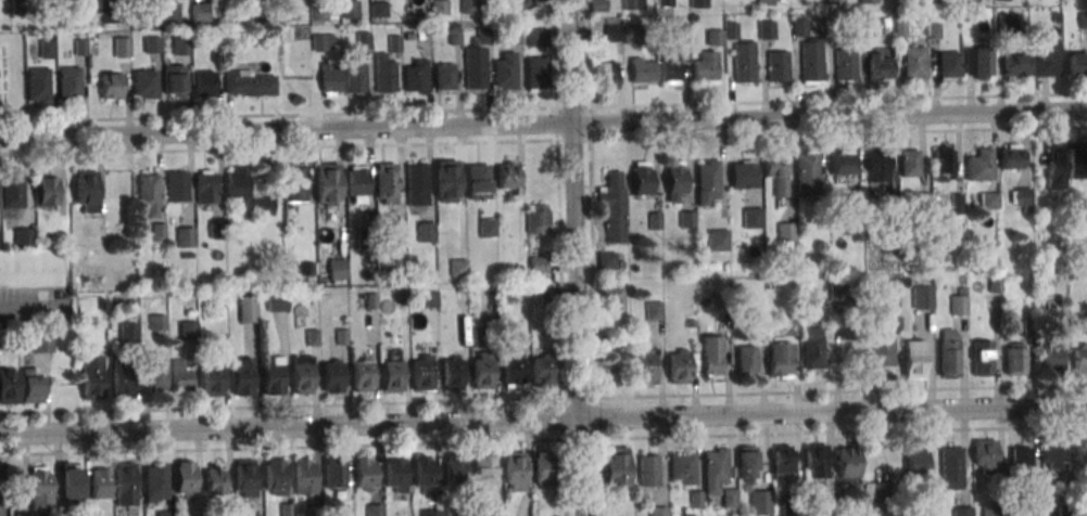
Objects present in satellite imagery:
building: (931, 0)
building: (969, 0)
building: (834, 1)
building: (867, 1)
building: (665, 2)
building: (766, 2)
building: (541, 3)
building: (698, 3)
building: (633, 4)
building: (598, 5)
building: (439, 7)
building: (468, 7)
building: (16, 8)
building: (350, 8)
building: (169, 11)
building: (379, 11)
building: (200, 12)
building: (257, 13)
building: (289, 13)
building: (139, 14)
building: (319, 14)
building: (110, 15)
building: (1054, 17)
building: (964, 18)
building: (1083, 20)
building: (1002, 24)
building: (870, 26)
building: (899, 26)
building: (799, 27)
building: (832, 28)
building: (767, 29)
building: (731, 30)
building: (933, 30)
building: (680, 33)
building: (614, 34)
building: (631, 34)
building: (100, 36)
building: (515, 36)
building: (408, 37)
building: (455, 37)
building: (713, 37)
building: (536, 38)
building: (323, 41)
building: (363, 41)
building: (151, 43)
building: (181, 44)
building: (394, 44)
building: (122, 47)
building: (47, 48)
building: (80, 49)
building: (1045, 55)
building: (743, 61)
building: (811, 61)
building: (913, 61)
building: (477, 62)
building: (978, 62)
building: (1077, 63)
building: (845, 64)
building: (949, 64)
building: (778, 65)
building: (1015, 65)
building: (669, 66)
building: (705, 66)
building: (880, 66)
building: (643, 68)
building: (506, 73)
building: (384, 75)
building: (536, 75)
building: (606, 75)
building: (415, 76)
building: (443, 76)
building: (355, 77)
building: (330, 79)
building: (174, 80)
building: (68, 82)
building: (249, 82)
building: (144, 83)
building: (202, 83)
building: (38, 85)
building: (111, 86)
road: (543, 108)
road: (543, 122)
road: (543, 141)
building: (1010, 155)
building: (1077, 159)
building: (843, 162)
building: (909, 162)
building: (943, 163)
building: (978, 165)
building: (876, 166)
building: (1054, 166)
building: (776, 171)
building: (807, 172)
building: (742, 175)
building: (510, 177)
building: (641, 178)
building: (675, 179)
building: (357, 180)
building: (446, 180)
building: (707, 180)
building: (478, 181)
building: (293, 182)
building: (385, 183)
building: (327, 184)
building: (416, 184)
building: (177, 185)
building: (206, 186)
building: (46, 190)
building: (12, 191)
building: (86, 191)
building: (245, 191)
building: (148, 192)
building: (1020, 196)
building: (923, 199)
building: (988, 199)
building: (854, 203)
building: (889, 203)
building: (956, 204)
building: (611, 205)
building: (1083, 211)
building: (753, 217)
building: (538, 218)
building: (686, 218)
building: (655, 221)
building: (102, 228)
building: (486, 228)
building: (215, 229)
building: (786, 231)
building: (426, 232)
building: (157, 233)
building: (185, 236)
building: (24, 237)
building: (0, 238)
building: (718, 238)
building: (365, 240)
road: (576, 257)
road: (592, 257)
road: (559, 258)
building: (607, 260)
building: (538, 263)
building: (457, 267)
building: (337, 269)
road: (25, 279)
building: (994, 284)
building: (462, 288)
building: (836, 292)
building: (612, 296)
building: (547, 297)
building: (922, 297)
building: (312, 298)
building: (402, 298)
building: (361, 299)
building: (429, 299)
building: (222, 300)
building: (370, 300)
building: (493, 300)
building: (276, 302)
road: (25, 304)
building: (132, 305)
building: (958, 305)
building: (248, 308)
building: (654, 310)
building: (722, 321)
building: (157, 322)
building: (690, 323)
building: (371, 325)
building: (624, 327)
building: (188, 331)
building: (128, 333)
building: (480, 334)
building: (341, 337)
building: (312, 338)
building: (41, 343)
building: (811, 347)
building: (881, 350)
building: (948, 352)
building: (711, 357)
building: (1048, 357)
building: (982, 358)
building: (1079, 358)
building: (780, 359)
building: (913, 359)
building: (1014, 359)
building: (746, 361)
building: (645, 365)
building: (679, 365)
building: (511, 369)
building: (157, 371)
building: (481, 371)
building: (421, 372)
building: (541, 372)
building: (452, 373)
building: (181, 374)
building: (302, 374)
building: (271, 375)
building: (362, 375)
building: (91, 376)
building: (122, 376)
building: (241, 376)
building: (331, 376)
building: (391, 376)
building: (211, 379)
building: (30, 385)
building: (9, 386)
road: (543, 399)
road: (543, 420)
road: (543, 440)
building: (1080, 451)
building: (985, 455)
building: (1052, 455)
building: (782, 457)
building: (1021, 457)
building: (816, 460)
building: (917, 461)
building: (746, 464)
building: (847, 465)
building: (682, 466)
building: (544, 467)
building: (615, 467)
building: (950, 467)
building: (455, 468)
building: (713, 468)
building: (425, 470)
building: (514, 470)
building: (648, 470)
building: (484, 472)
building: (394, 473)
building: (334, 474)
building: (364, 474)
building: (304, 475)
building: (274, 477)
building: (213, 478)
building: (244, 478)
building: (185, 479)
building: (68, 482)
building: (99, 482)
building: (154, 482)
building: (124, 483)
building: (40, 488)
road: (1, 489)
building: (875, 491)
building: (728, 498)
building: (695, 500)
building: (760, 503)
building: (825, 504)
building: (793, 505)
building: (286, 509)
building: (375, 509)
building: (314, 511)
building: (658, 511)
building: (962, 511)
building: (1064, 511)
building: (164, 513)
building: (431, 513)
building: (994, 513)

